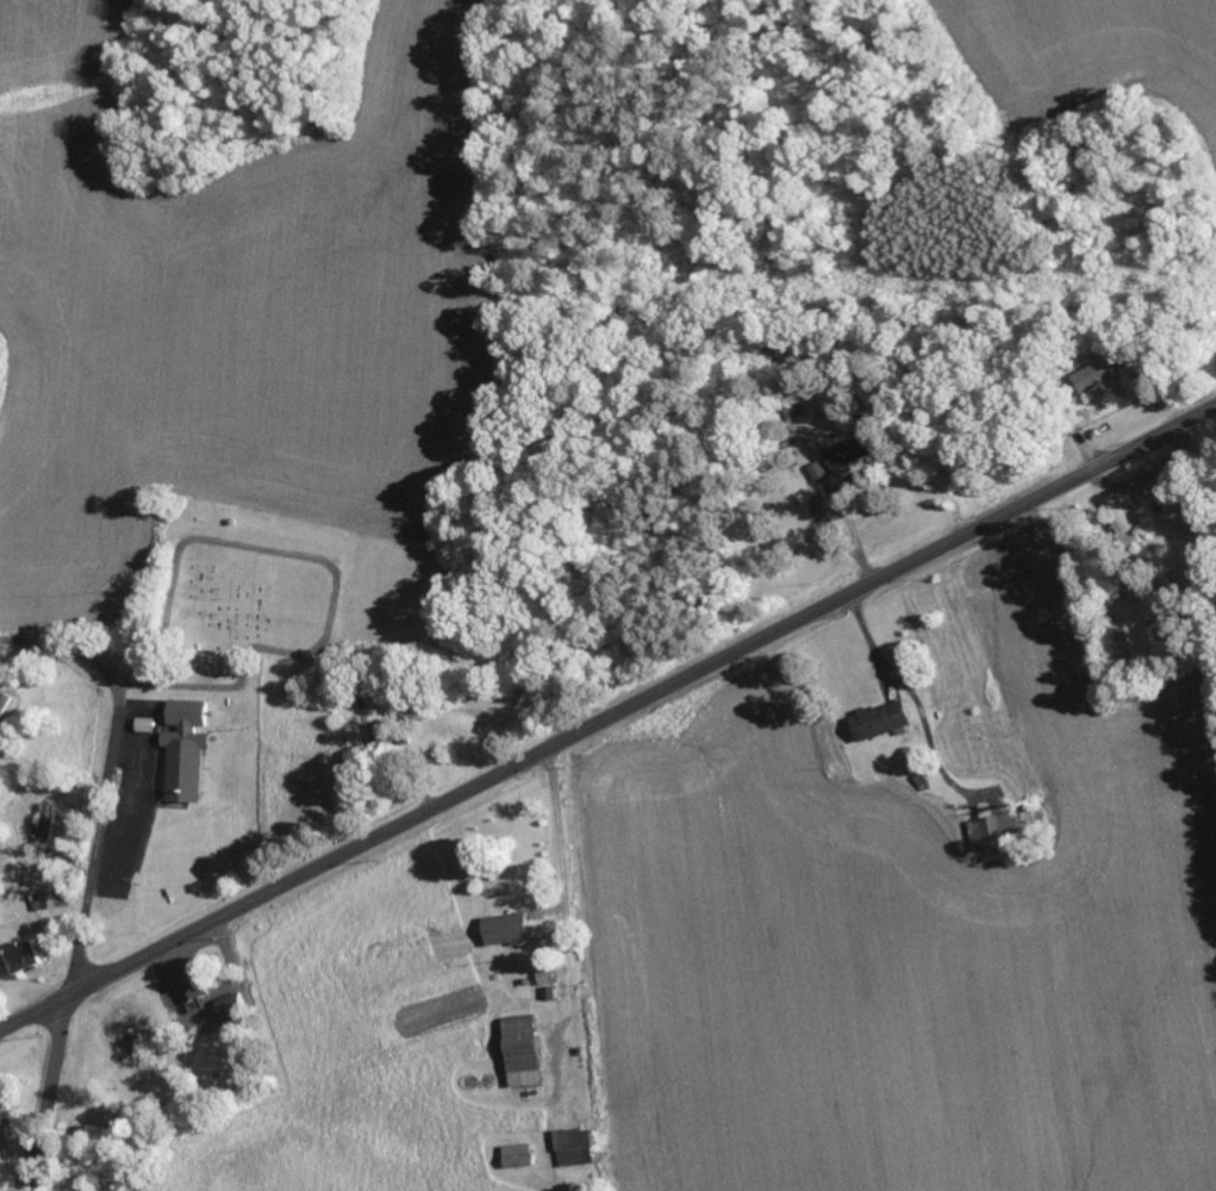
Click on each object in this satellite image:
building: (1097, 376)
building: (849, 454)
building: (818, 472)
building: (849, 485)
building: (1124, 518)
park: (212, 597)
building: (2, 704)
road: (606, 718)
building: (884, 721)
building: (149, 725)
building: (382, 734)
building: (188, 750)
road: (108, 775)
building: (48, 824)
building: (996, 833)
building: (51, 902)
road: (85, 916)
building: (511, 929)
building: (23, 958)
building: (549, 978)
building: (191, 991)
building: (230, 1009)
building: (131, 1024)
building: (526, 1052)
road: (46, 1093)
building: (579, 1148)
building: (519, 1156)

